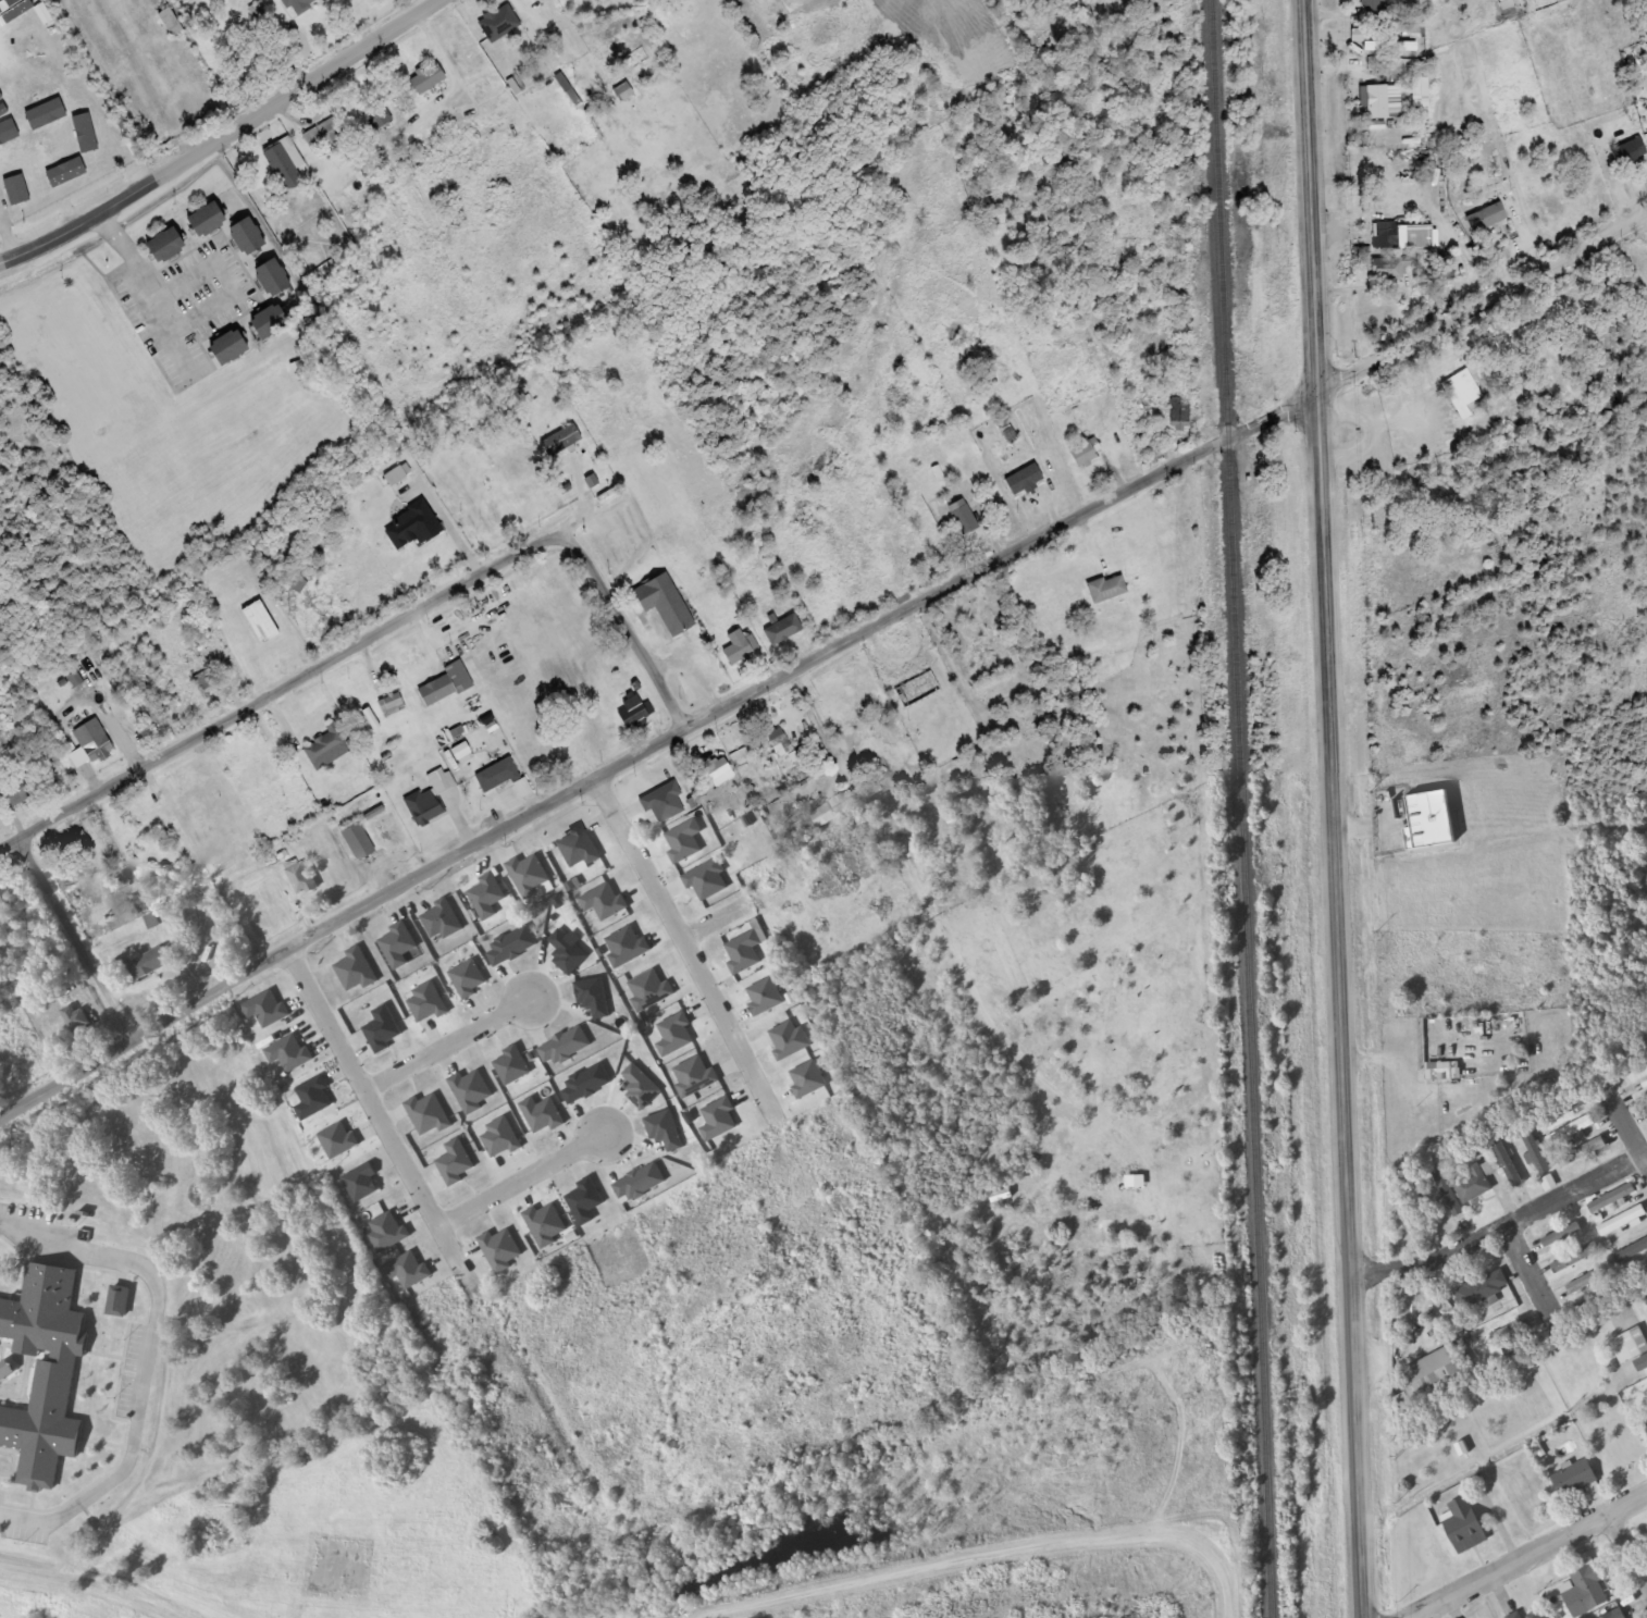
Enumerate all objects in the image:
building: (299, 4)
building: (1373, 8)
building: (170, 22)
building: (1391, 47)
building: (1375, 64)
building: (426, 78)
building: (35, 91)
building: (5, 98)
building: (1374, 101)
building: (45, 113)
building: (376, 114)
building: (83, 134)
road: (219, 136)
building: (326, 138)
building: (1630, 151)
building: (277, 159)
building: (63, 175)
building: (23, 189)
building: (1486, 217)
building: (207, 219)
building: (1386, 234)
building: (247, 235)
building: (165, 245)
building: (1390, 268)
building: (272, 277)
building: (269, 321)
building: (228, 347)
building: (1462, 393)
building: (1180, 415)
building: (561, 440)
building: (1086, 453)
building: (397, 474)
building: (1024, 480)
building: (964, 518)
building: (412, 527)
building: (1499, 551)
building: (1107, 589)
building: (666, 604)
building: (783, 630)
road: (640, 649)
building: (738, 649)
road: (819, 656)
road: (299, 675)
building: (206, 682)
building: (446, 684)
building: (917, 689)
building: (392, 706)
building: (635, 711)
building: (151, 714)
building: (777, 737)
building: (94, 742)
building: (325, 744)
building: (819, 750)
building: (750, 755)
building: (719, 773)
building: (497, 775)
building: (522, 788)
building: (18, 792)
building: (429, 799)
railway: (1241, 808)
road: (1333, 808)
building: (817, 820)
building: (1429, 823)
building: (358, 841)
building: (73, 847)
building: (301, 879)
building: (5, 906)
road: (75, 938)
road: (677, 952)
building: (150, 965)
building: (77, 1030)
road: (446, 1048)
building: (23, 1054)
building: (1442, 1073)
building: (1565, 1110)
road: (374, 1112)
building: (1571, 1133)
building: (1535, 1151)
building: (1582, 1154)
building: (1510, 1172)
road: (519, 1181)
building: (1135, 1182)
building: (1474, 1186)
building: (1447, 1193)
building: (1612, 1199)
building: (1622, 1223)
building: (1561, 1236)
building: (1632, 1252)
building: (1573, 1259)
building: (1643, 1271)
building: (1589, 1280)
building: (1484, 1290)
building: (119, 1302)
building: (1644, 1302)
building: (1620, 1316)
building: (1630, 1346)
building: (1643, 1366)
building: (40, 1374)
building: (1434, 1381)
building: (1645, 1425)
building: (1575, 1479)
building: (1464, 1526)
road: (1633, 1540)
road: (1526, 1555)
building: (1586, 1593)
building: (1617, 1615)
building: (1515, 1616)
building: (1536, 1616)

